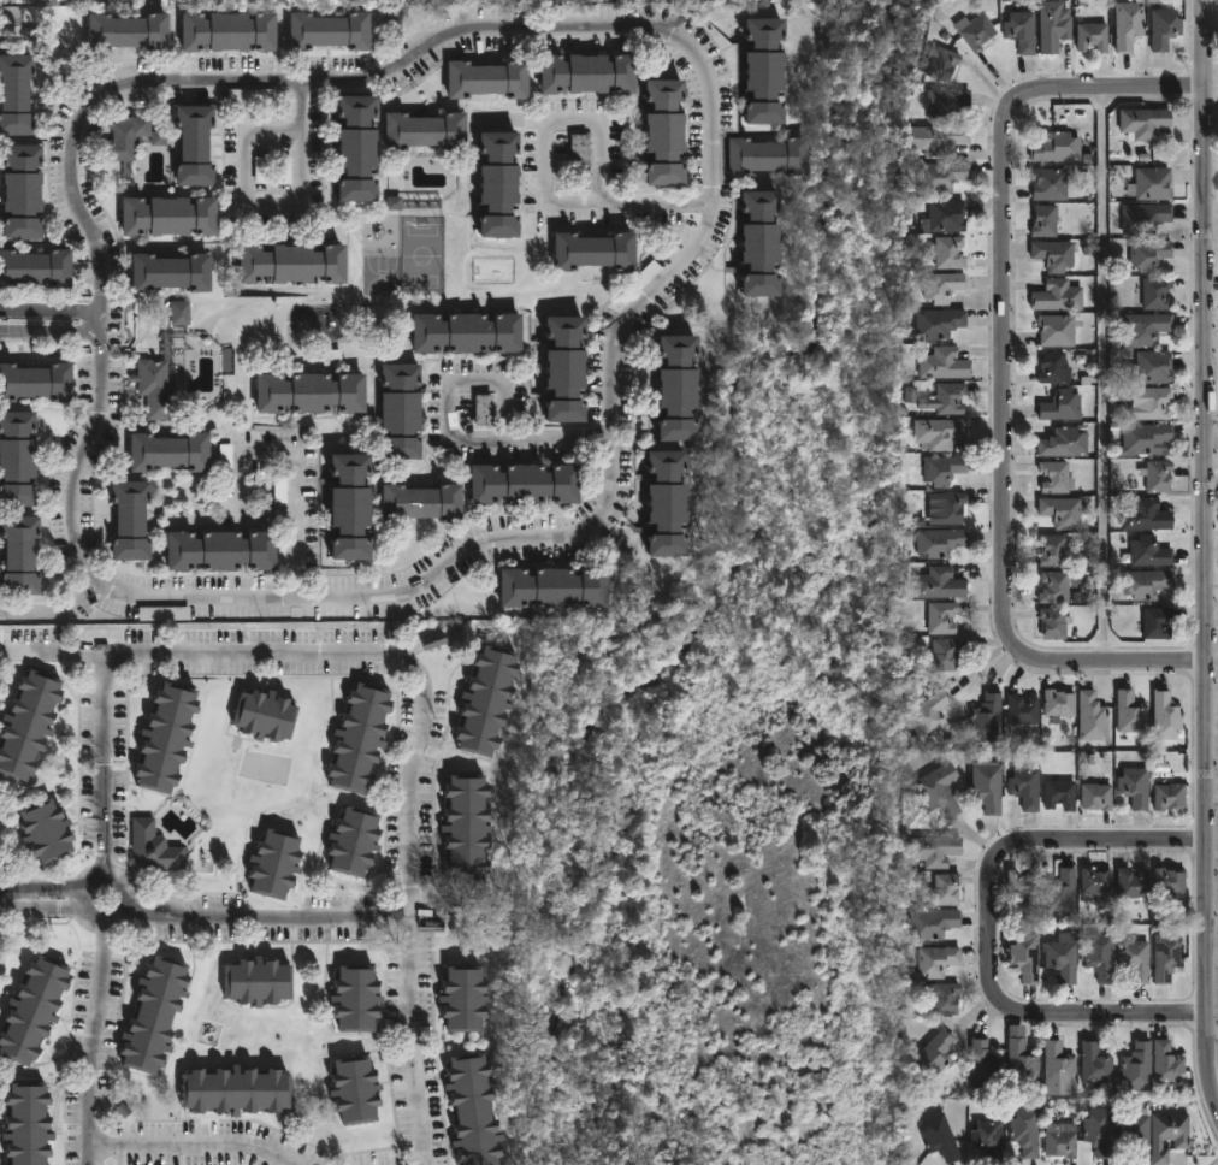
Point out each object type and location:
building: (575, 11)
building: (392, 18)
building: (1129, 25)
building: (1056, 28)
building: (1166, 29)
building: (331, 31)
building: (1021, 31)
building: (128, 32)
building: (231, 32)
building: (978, 32)
building: (1095, 37)
road: (58, 53)
building: (946, 64)
building: (769, 71)
building: (590, 73)
building: (491, 79)
building: (252, 95)
building: (16, 96)
building: (948, 104)
building: (1147, 123)
building: (426, 132)
building: (668, 134)
building: (132, 138)
building: (941, 140)
building: (195, 147)
building: (1058, 148)
building: (359, 149)
building: (581, 150)
building: (770, 156)
road: (545, 170)
building: (260, 171)
building: (284, 172)
building: (941, 177)
building: (1050, 184)
building: (1152, 184)
building: (501, 185)
building: (23, 193)
building: (413, 202)
road: (267, 207)
building: (947, 215)
building: (170, 217)
building: (1146, 217)
building: (1046, 221)
building: (764, 246)
building: (597, 253)
building: (952, 253)
building: (1152, 254)
building: (1056, 255)
building: (294, 265)
road: (687, 265)
building: (36, 270)
building: (171, 273)
building: (945, 286)
building: (1158, 294)
building: (1059, 296)
road: (51, 312)
building: (179, 314)
building: (941, 323)
road: (102, 326)
building: (469, 330)
building: (1149, 330)
building: (1059, 331)
road: (51, 337)
building: (946, 363)
building: (568, 366)
building: (1056, 367)
building: (1155, 368)
road: (1005, 375)
road: (1105, 377)
building: (35, 379)
building: (161, 380)
road: (474, 382)
building: (682, 388)
building: (313, 391)
building: (947, 398)
building: (1152, 402)
building: (1063, 404)
building: (486, 409)
building: (403, 410)
building: (941, 433)
road: (537, 438)
building: (1147, 438)
building: (1065, 442)
building: (171, 450)
building: (18, 457)
building: (225, 459)
building: (942, 468)
building: (1160, 475)
building: (1058, 477)
building: (526, 483)
road: (238, 486)
building: (424, 502)
building: (670, 502)
building: (353, 504)
building: (952, 505)
building: (1064, 510)
building: (1147, 515)
building: (131, 518)
road: (291, 528)
building: (941, 542)
building: (221, 550)
building: (1053, 551)
building: (20, 552)
building: (1151, 552)
road: (1206, 557)
building: (941, 582)
building: (1147, 584)
building: (555, 586)
building: (1058, 586)
road: (53, 611)
building: (162, 614)
building: (942, 617)
building: (1054, 622)
building: (1159, 622)
building: (433, 641)
building: (946, 655)
building: (490, 700)
road: (426, 704)
building: (1062, 704)
building: (1024, 709)
building: (933, 712)
building: (1131, 712)
building: (1167, 714)
building: (266, 715)
building: (1093, 716)
building: (991, 717)
building: (28, 722)
building: (166, 737)
building: (360, 738)
road: (105, 773)
building: (988, 786)
building: (1135, 786)
building: (1025, 788)
building: (939, 790)
building: (1059, 794)
building: (1095, 796)
building: (1171, 796)
building: (468, 828)
building: (47, 829)
building: (354, 841)
building: (154, 847)
building: (934, 851)
building: (276, 863)
building: (1167, 881)
building: (1094, 882)
building: (1023, 883)
building: (1130, 883)
road: (53, 886)
building: (947, 889)
building: (1062, 891)
road: (54, 911)
road: (254, 919)
building: (936, 923)
road: (992, 924)
building: (1025, 957)
building: (1165, 957)
building: (1065, 958)
building: (1102, 958)
building: (940, 960)
building: (1136, 960)
building: (259, 981)
building: (947, 995)
building: (357, 998)
building: (465, 998)
building: (34, 1011)
building: (155, 1015)
road: (96, 1019)
building: (939, 1057)
building: (1024, 1058)
building: (1169, 1063)
building: (1095, 1064)
building: (983, 1065)
building: (1136, 1065)
building: (1059, 1069)
building: (357, 1089)
building: (236, 1090)
building: (475, 1111)
building: (29, 1124)
building: (1100, 1130)
building: (1025, 1131)
building: (1133, 1133)
building: (1169, 1135)
building: (942, 1139)
building: (988, 1139)
building: (1060, 1140)
road: (178, 1147)

